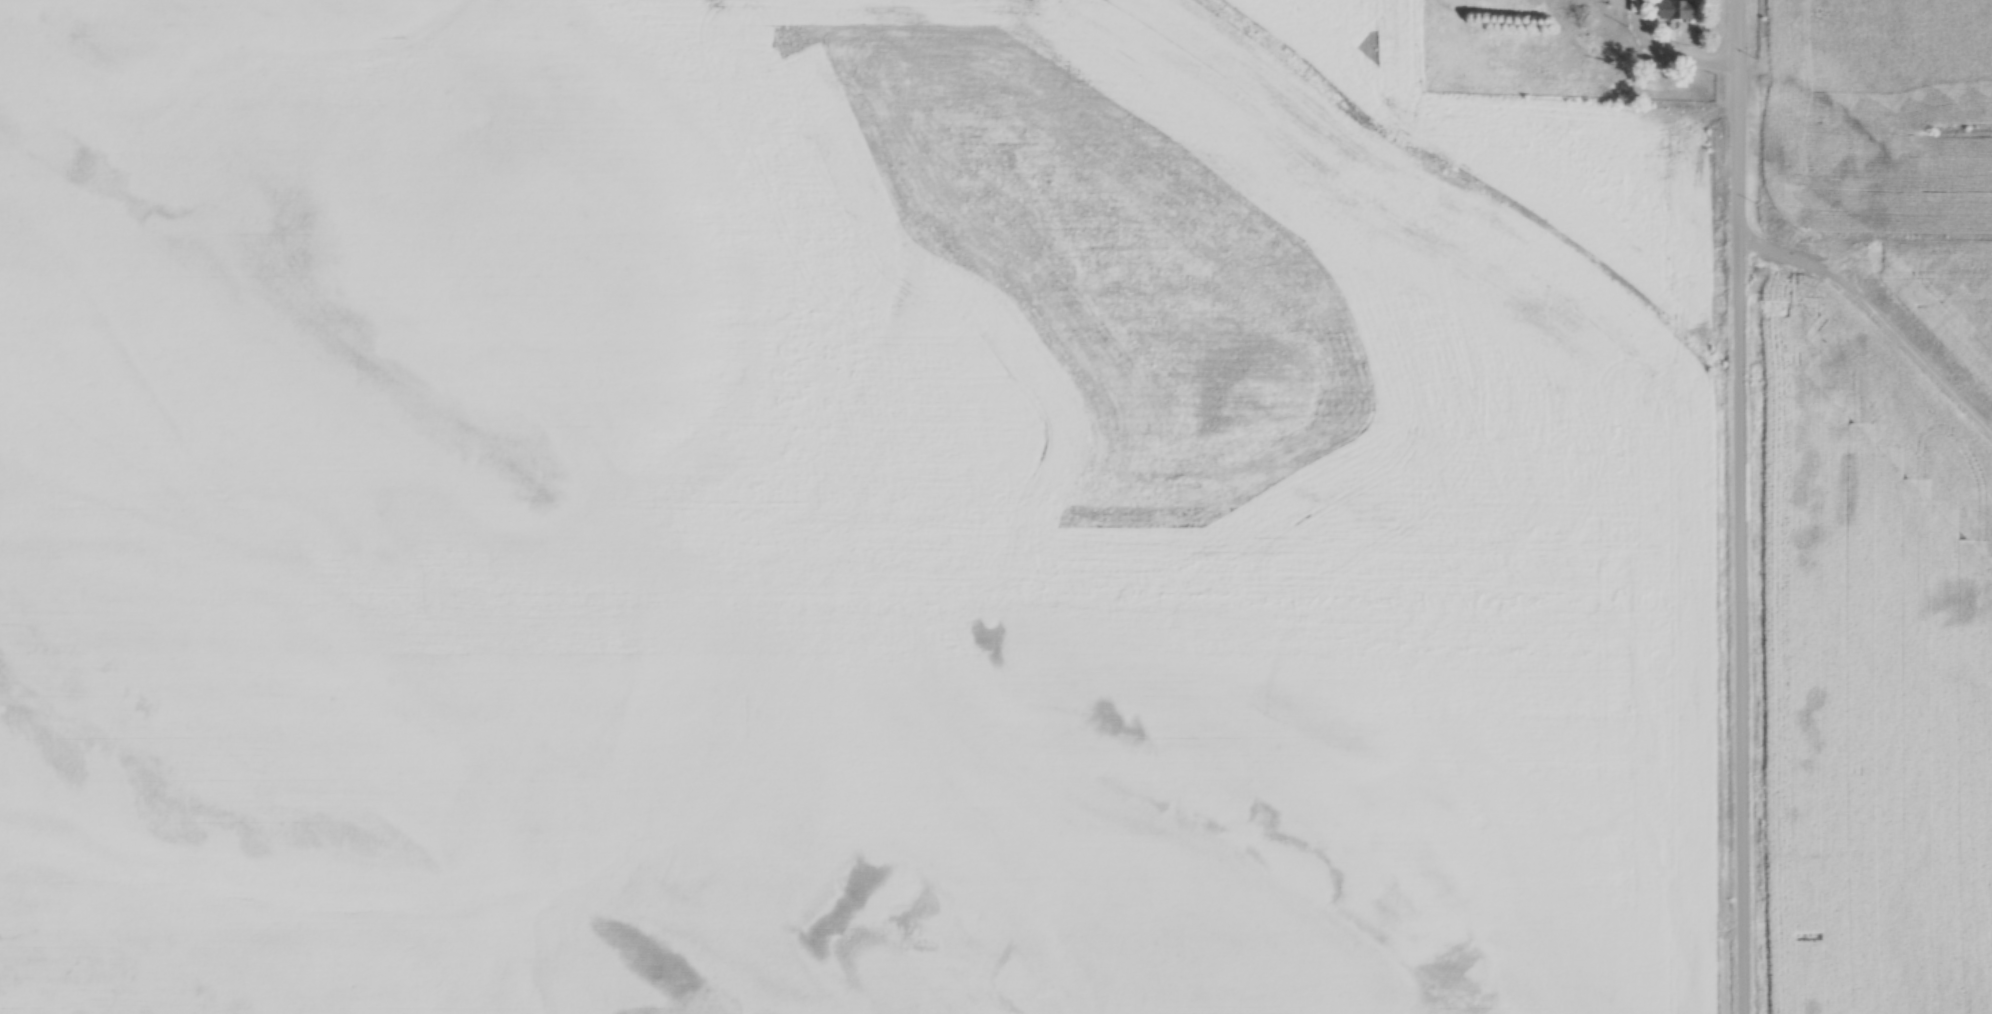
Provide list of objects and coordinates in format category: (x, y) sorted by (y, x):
building: (1678, 9)
road: (1876, 310)
road: (1737, 507)

